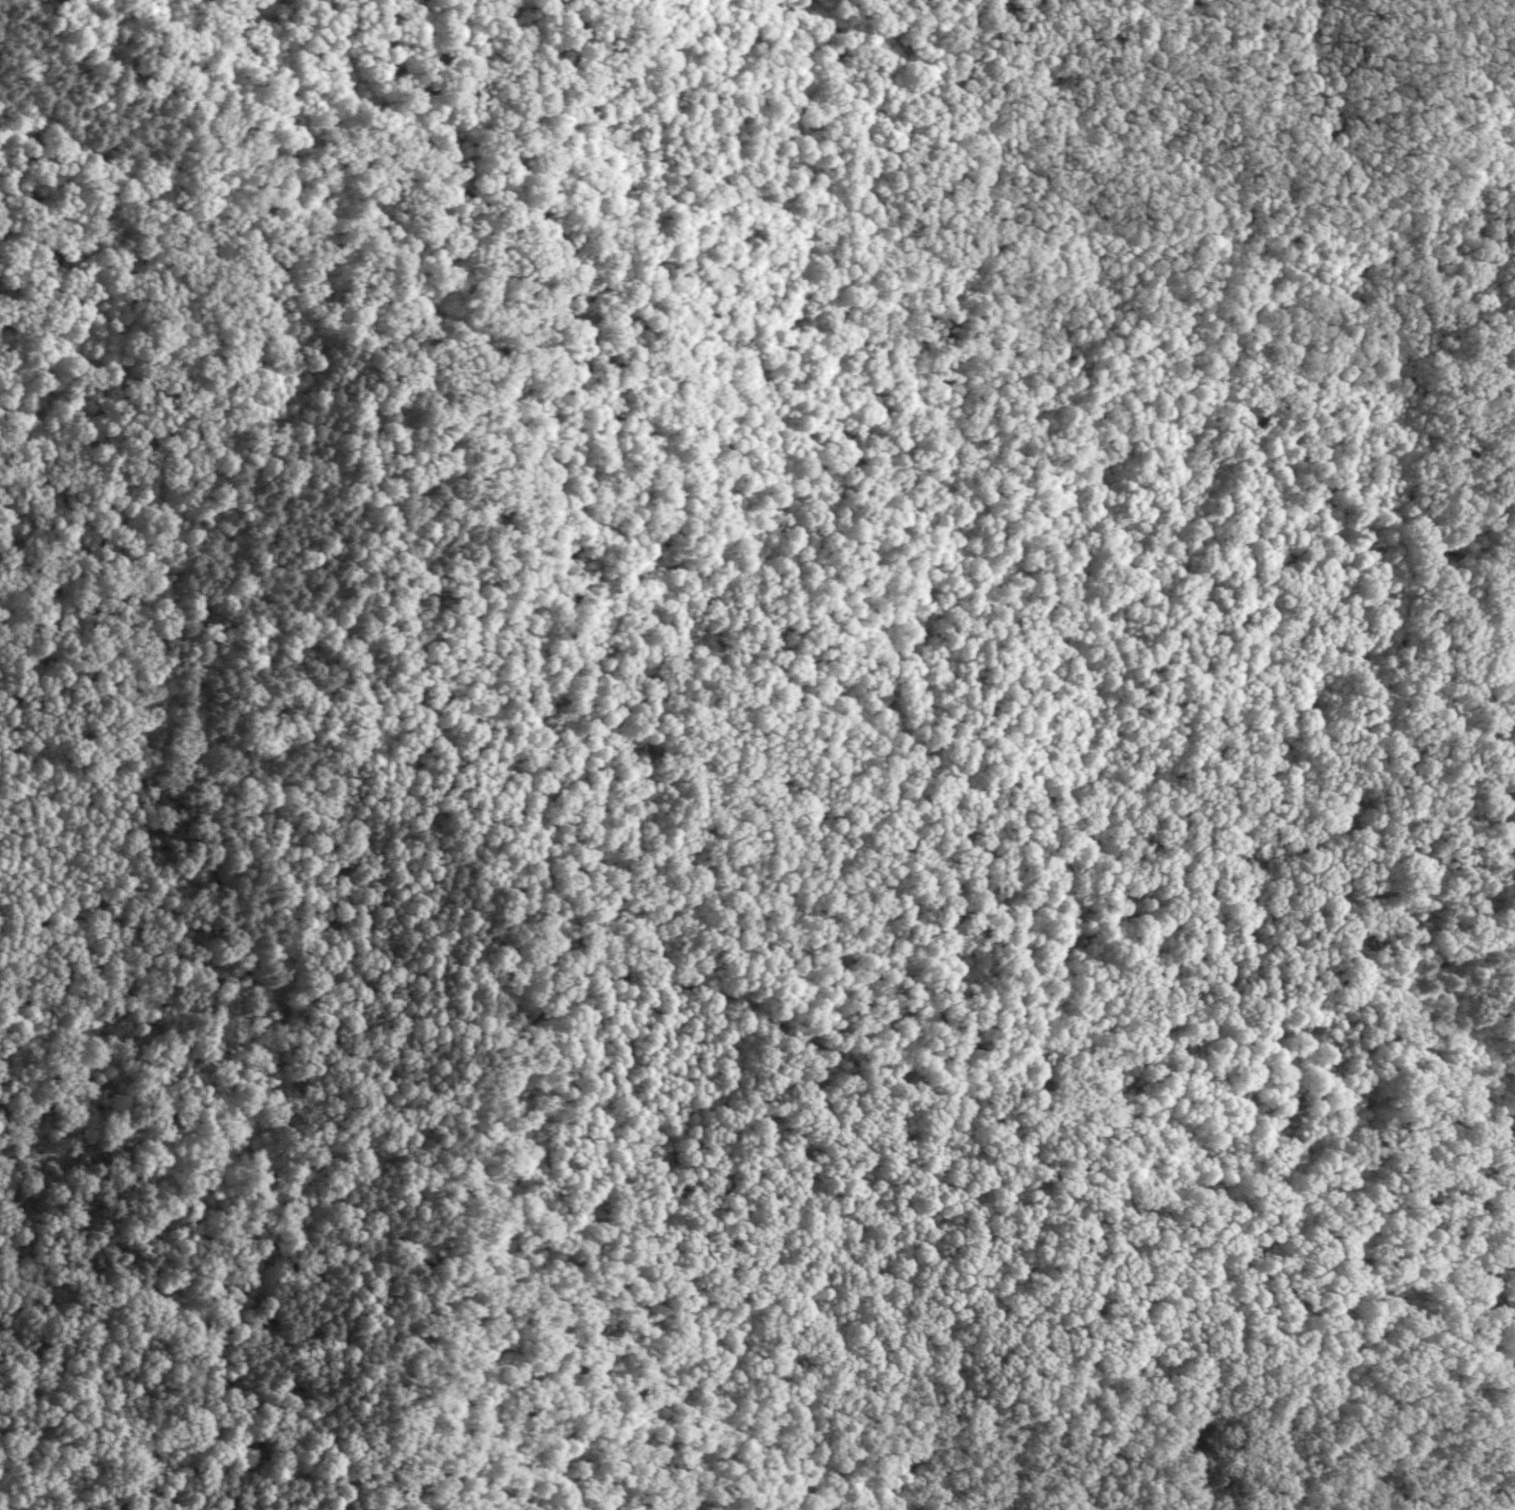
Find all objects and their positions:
road: (196, 777)
road: (895, 1080)

